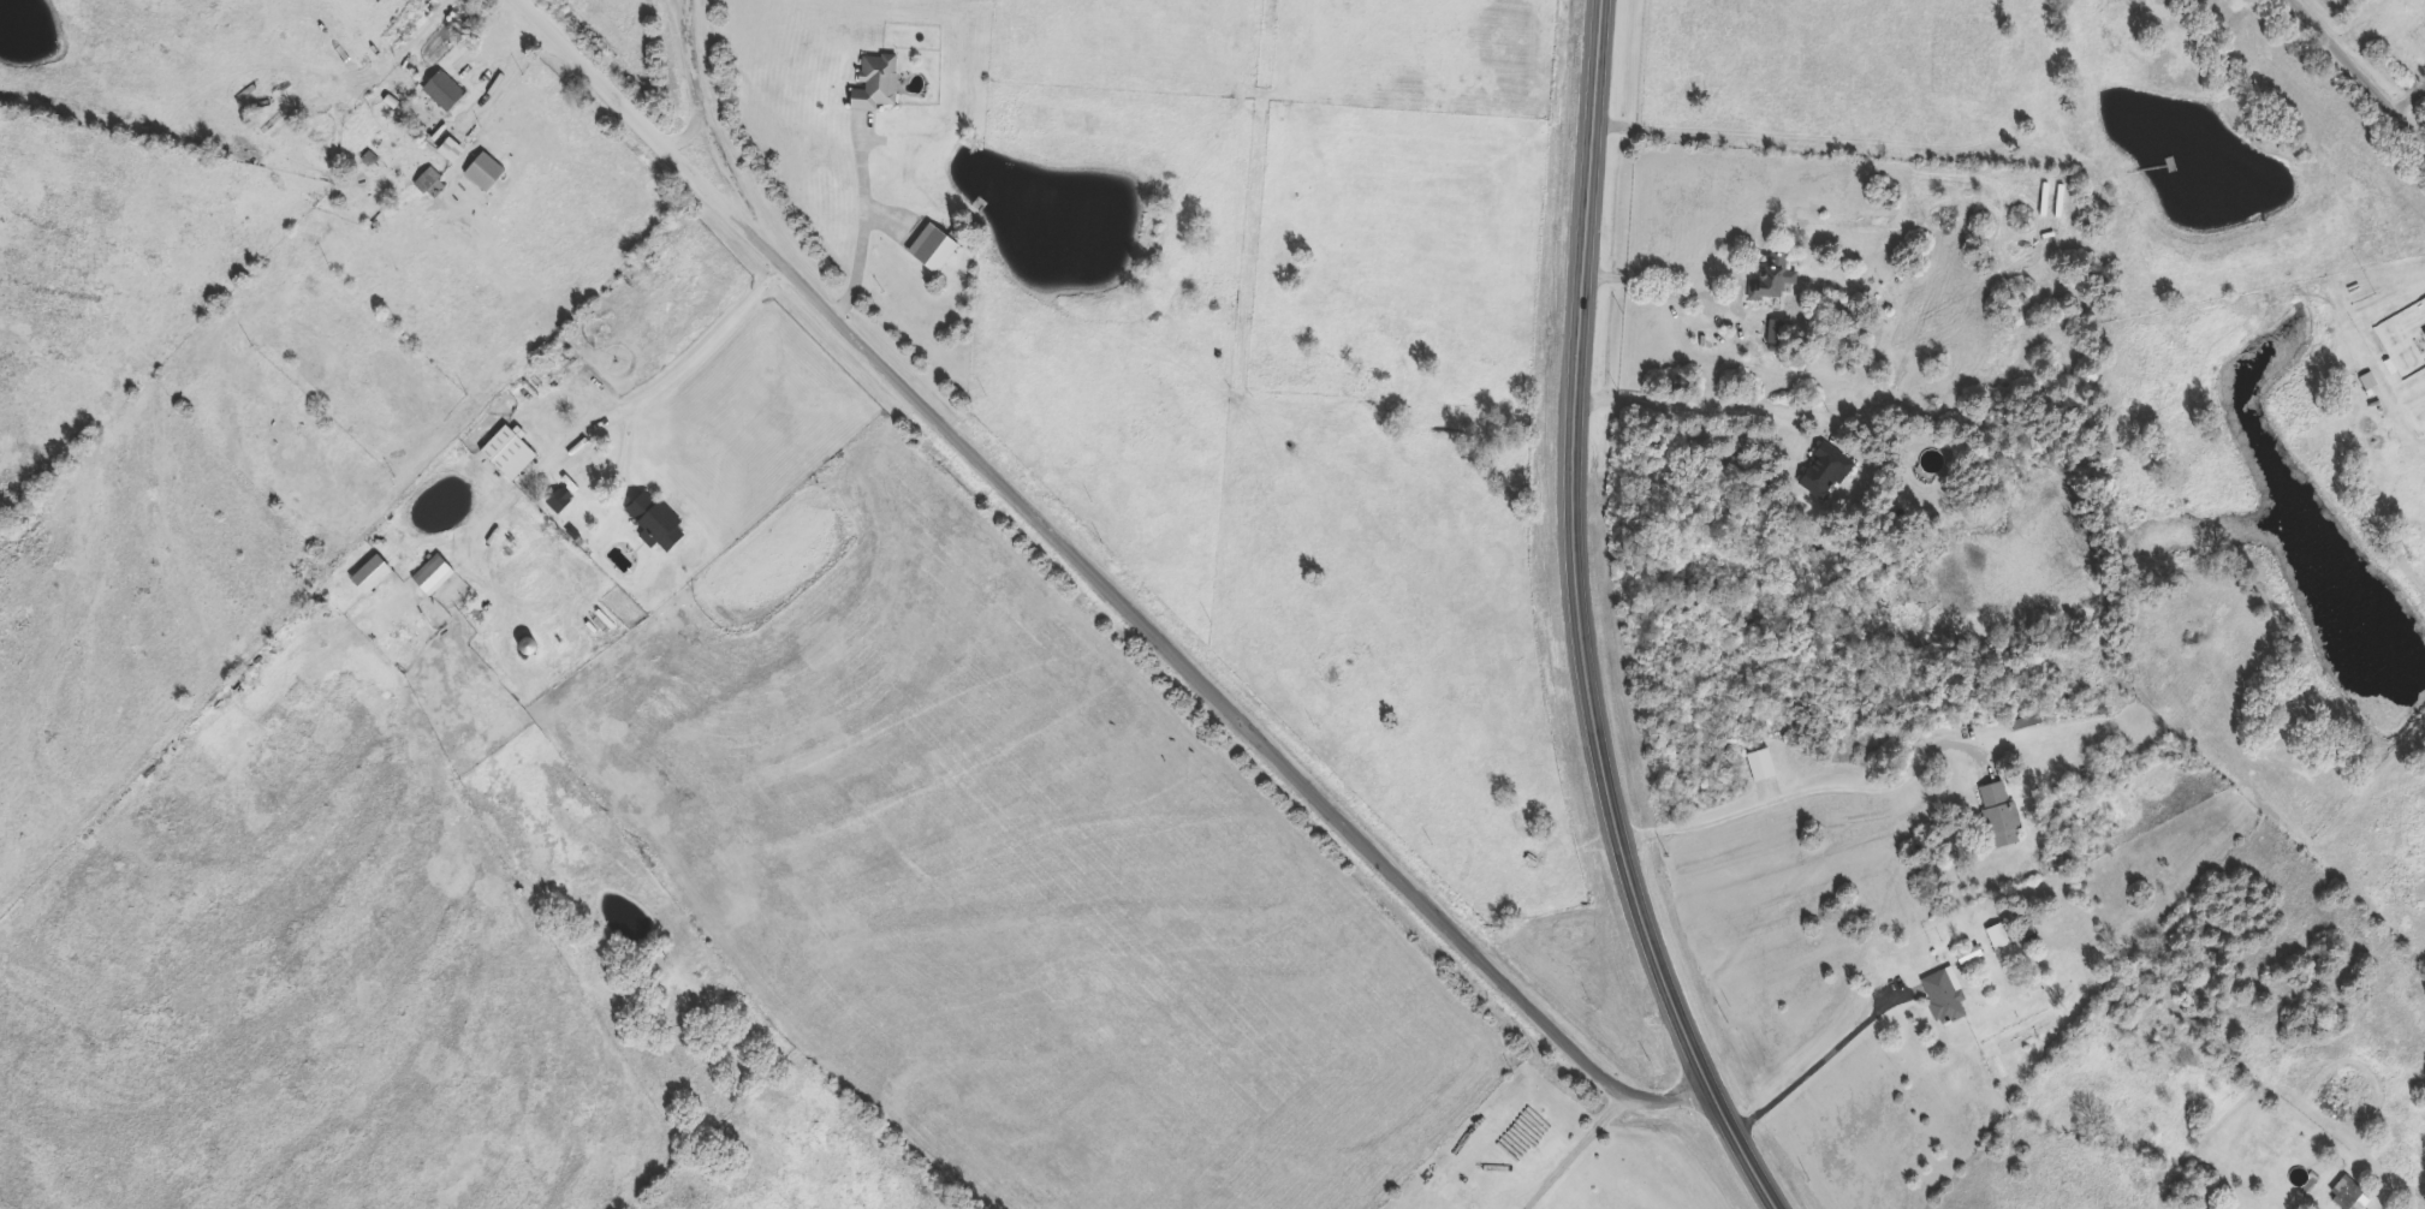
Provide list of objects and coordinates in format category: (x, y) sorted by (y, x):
road: (2359, 72)
road: (509, 78)
building: (873, 85)
building: (441, 91)
road: (714, 131)
building: (448, 151)
building: (482, 172)
building: (429, 185)
road: (869, 224)
building: (931, 251)
building: (1771, 280)
road: (1686, 297)
building: (1777, 328)
building: (2424, 334)
road: (688, 367)
building: (2367, 382)
road: (1696, 409)
building: (505, 453)
building: (1824, 471)
building: (558, 501)
building: (655, 524)
building: (367, 577)
building: (429, 579)
road: (1101, 582)
road: (1583, 625)
building: (1759, 767)
road: (1809, 786)
building: (1999, 817)
building: (1997, 939)
building: (1943, 997)
road: (1824, 1056)
road: (1582, 1154)
building: (2346, 1196)

